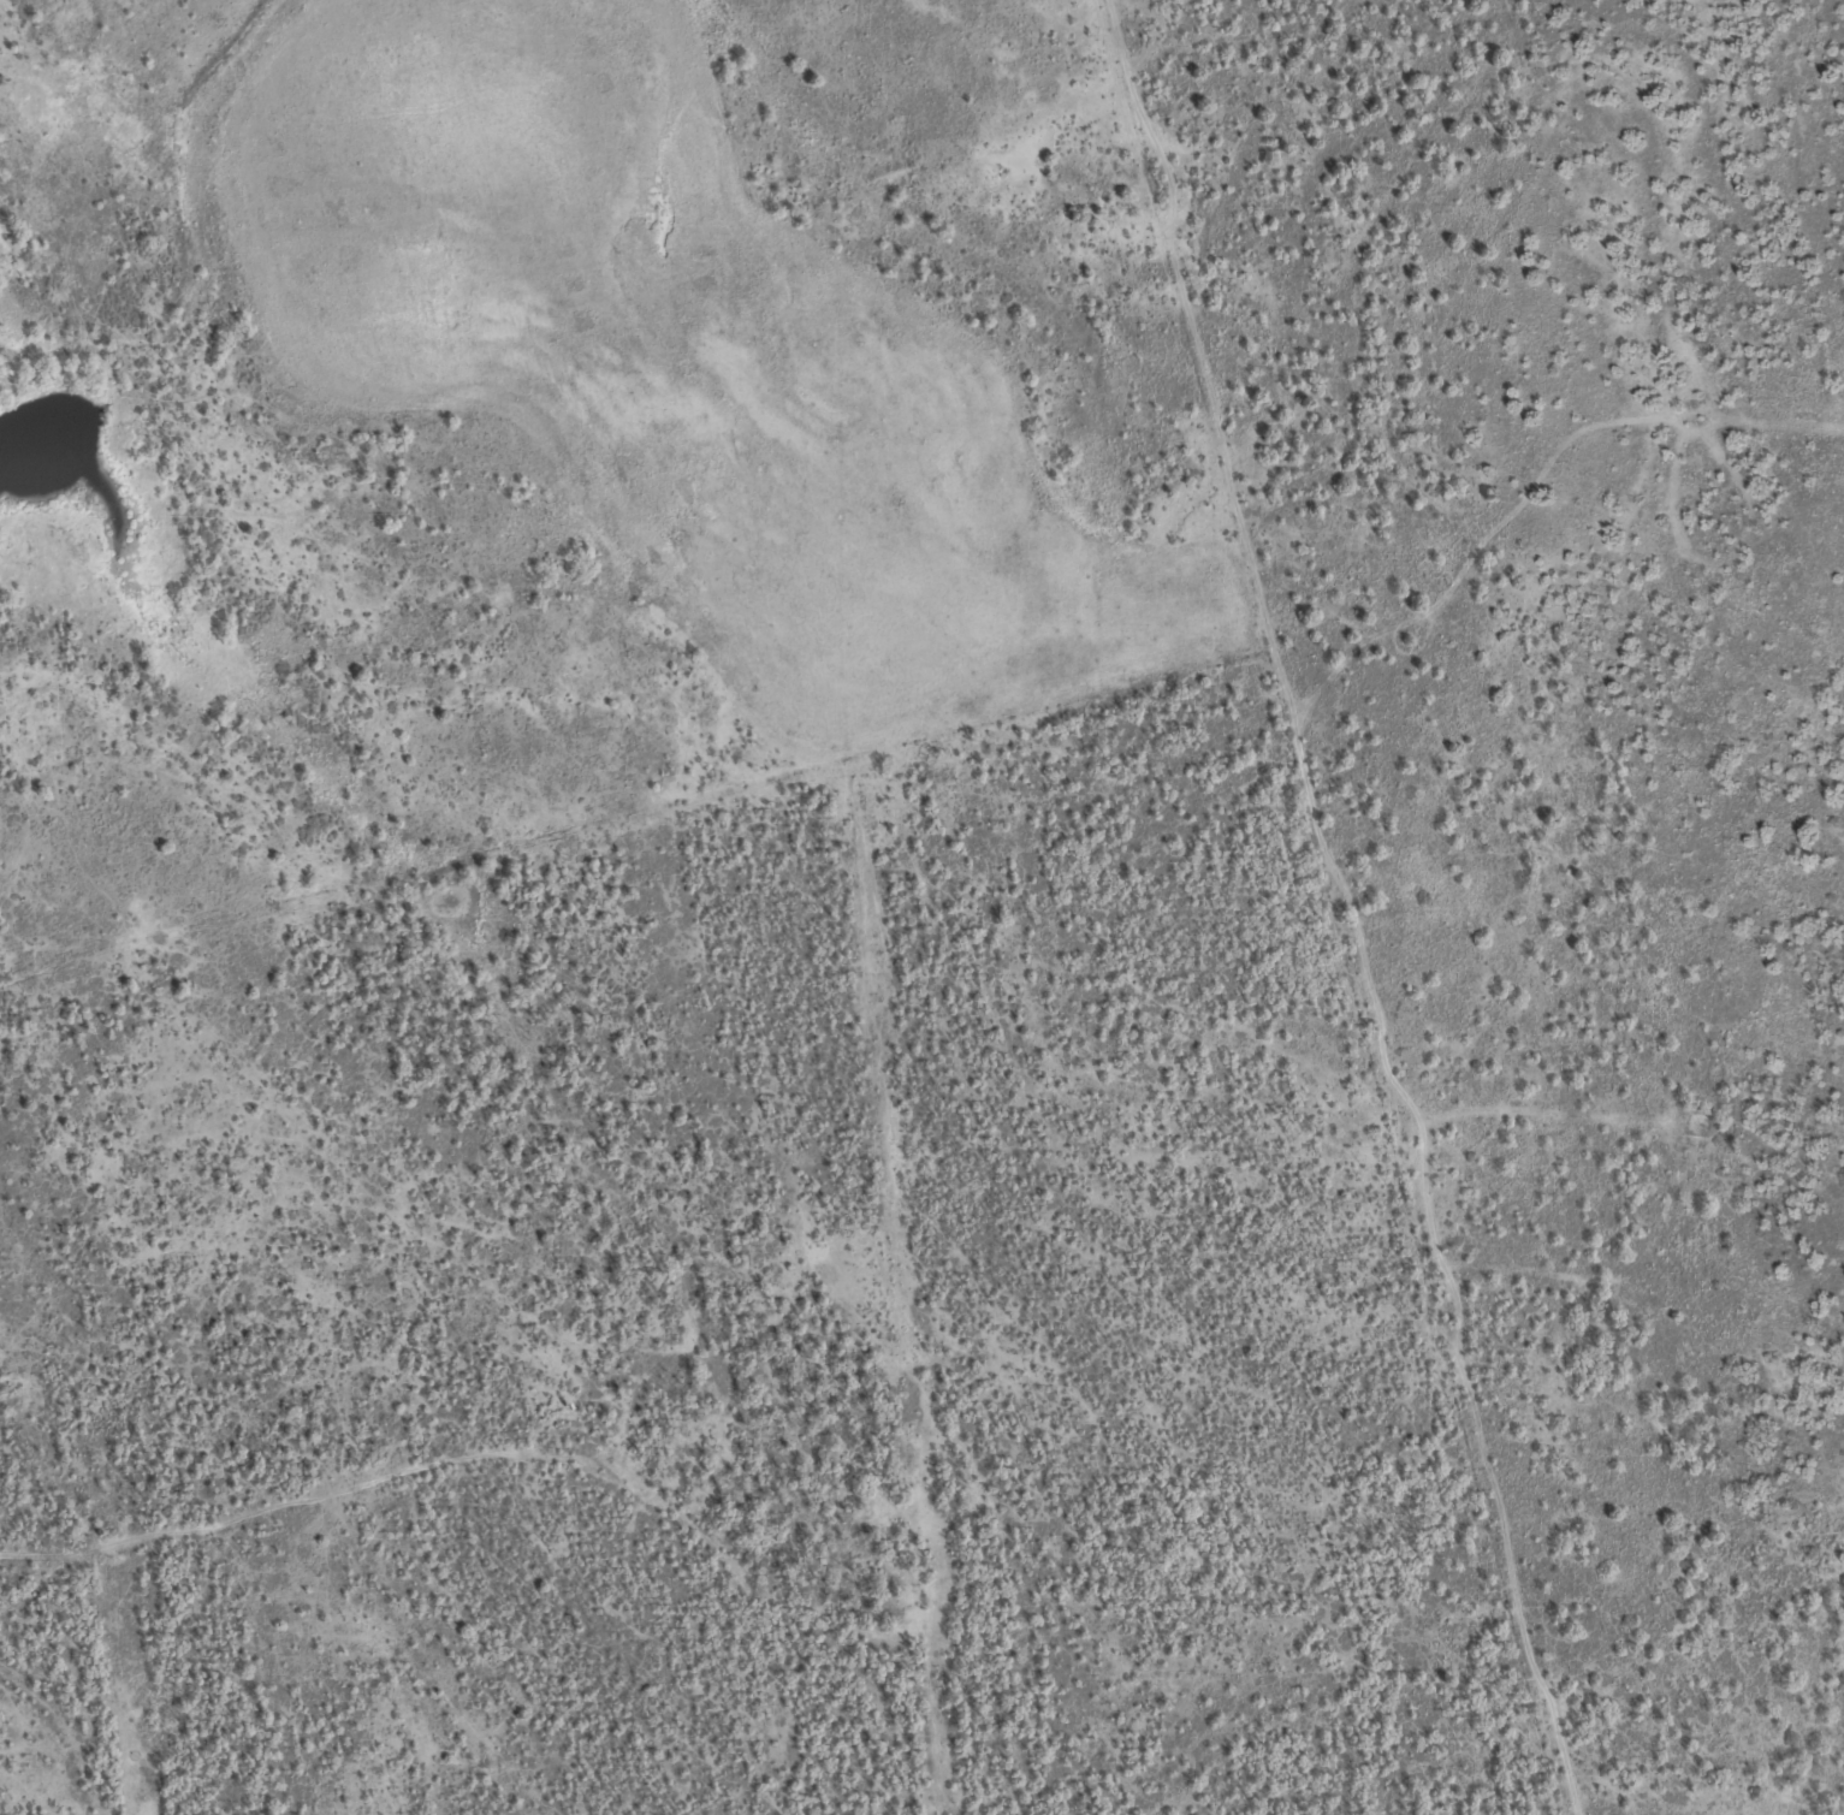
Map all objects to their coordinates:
road: (61, 253)

